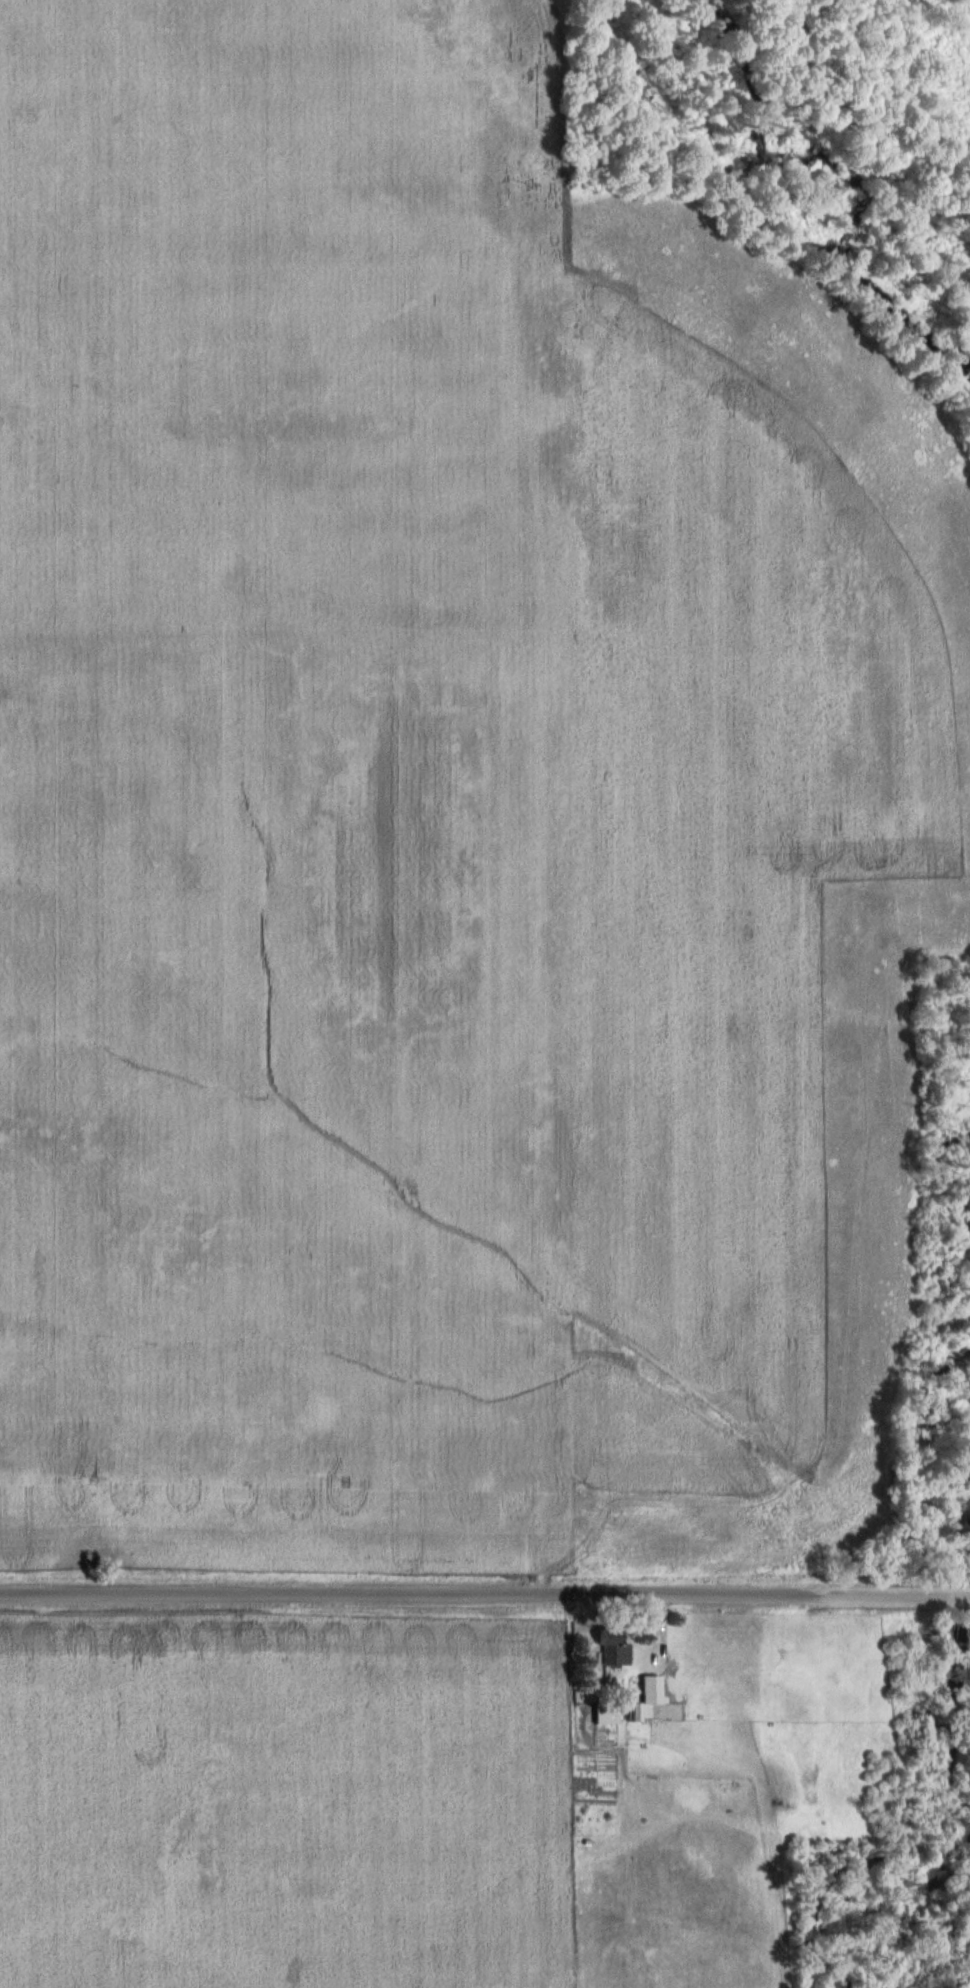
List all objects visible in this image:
road: (485, 1597)
building: (614, 1649)
building: (649, 1698)
building: (607, 1715)

